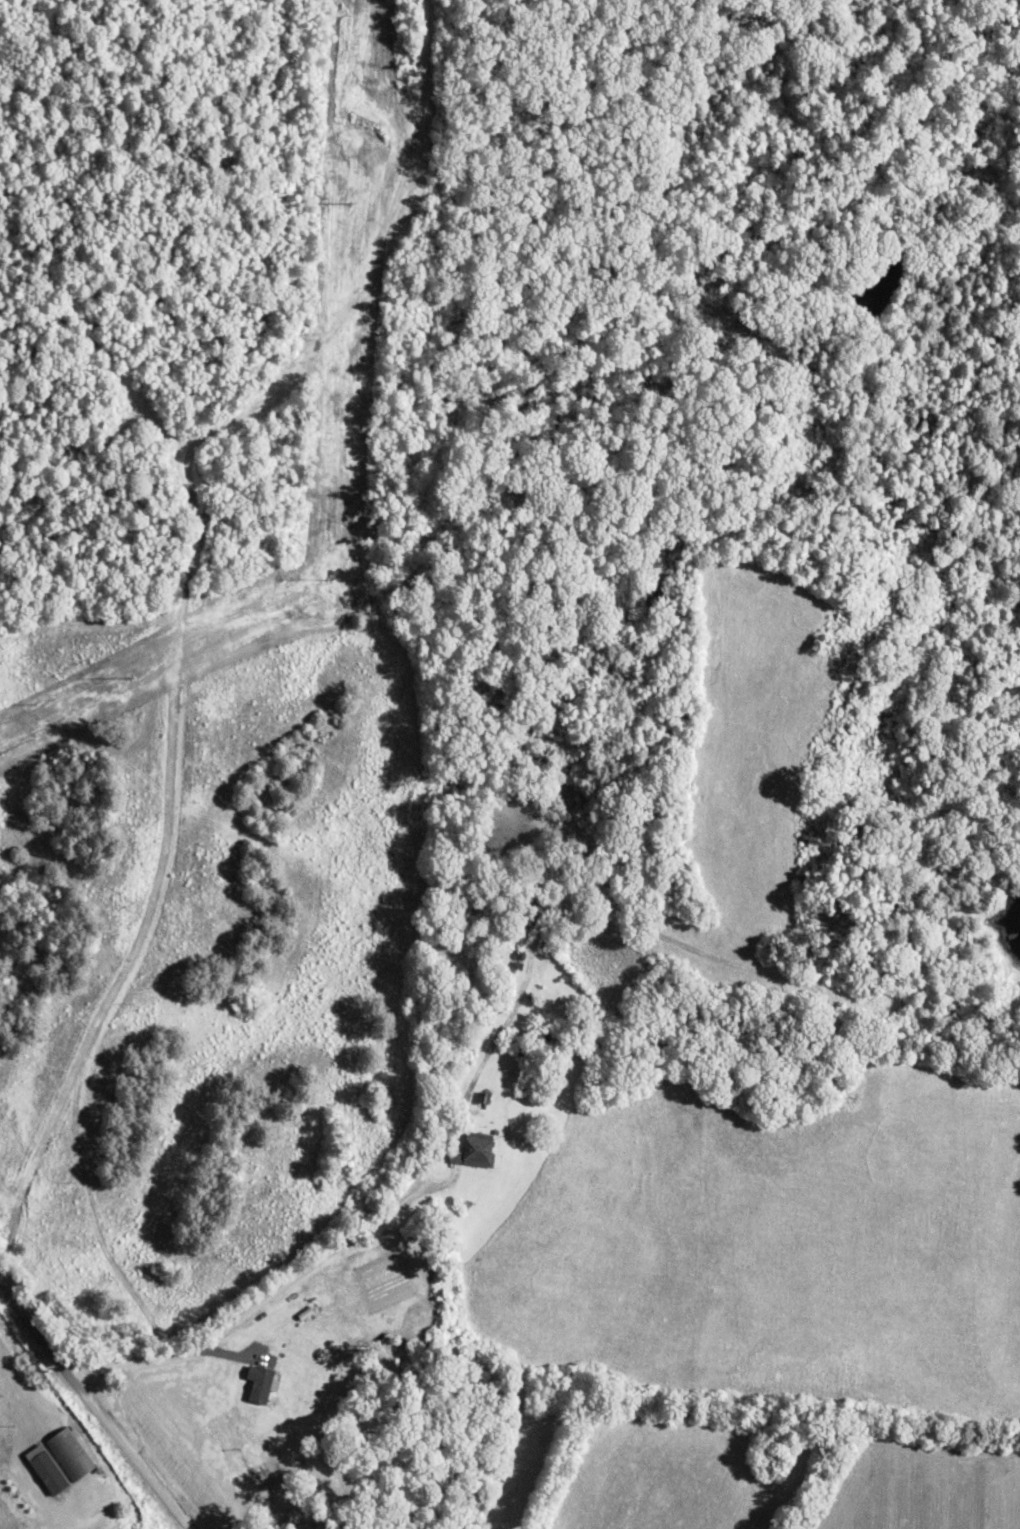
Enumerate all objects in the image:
road: (195, 1108)
road: (455, 1137)
building: (474, 1149)
road: (296, 1322)
road: (82, 1415)
building: (69, 1453)
building: (46, 1469)

